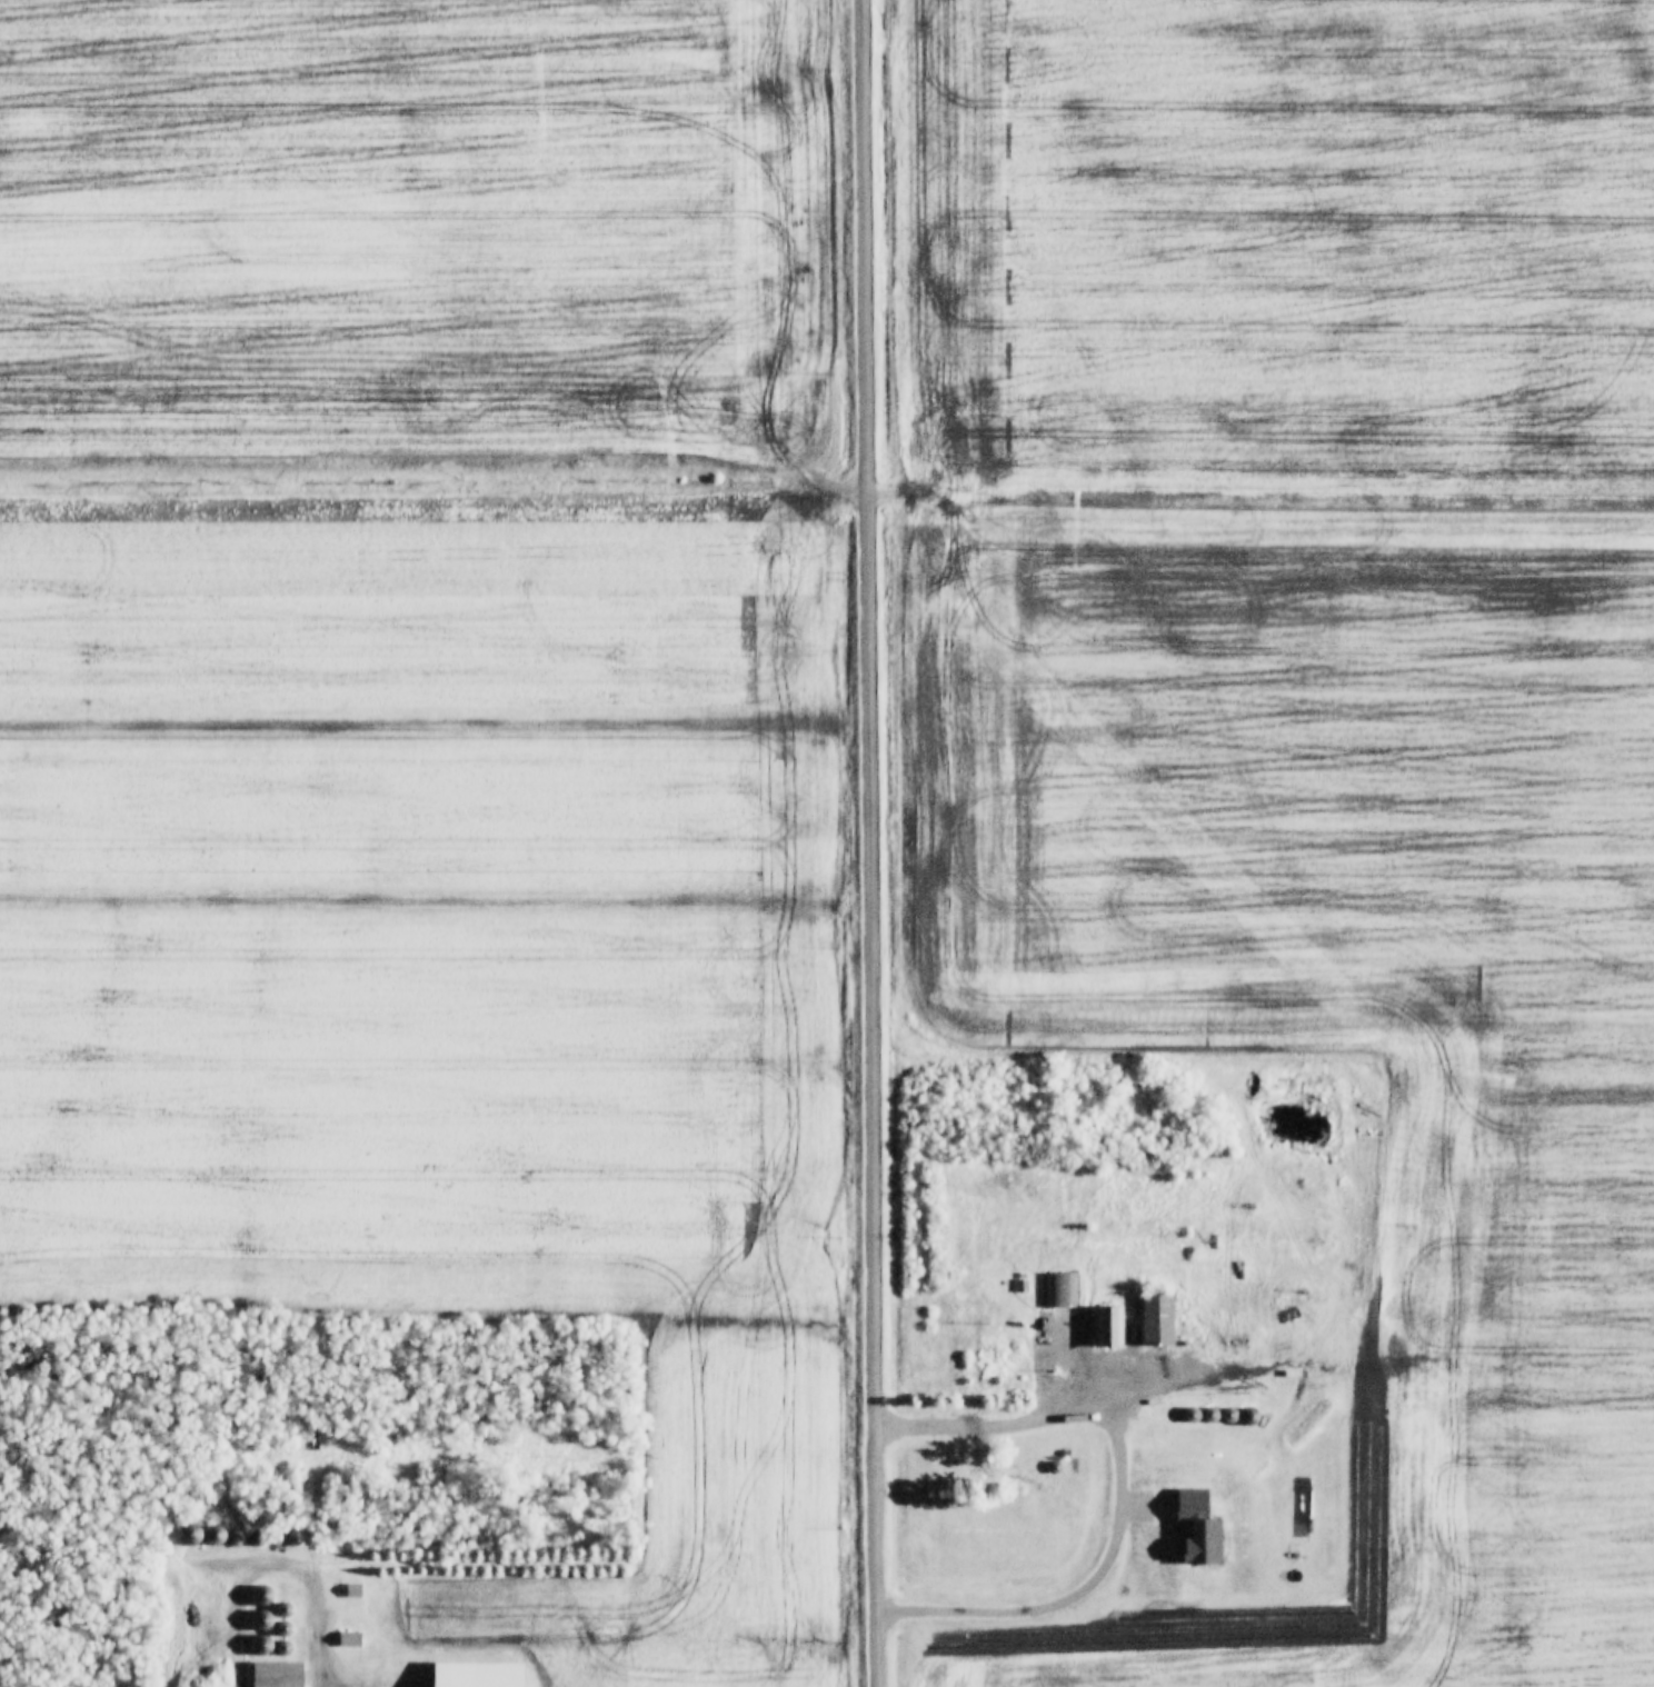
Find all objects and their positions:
crop: (411, 242)
crop: (1319, 707)
road: (869, 843)
crop: (452, 942)
road: (1123, 1484)
road: (278, 1557)
building: (348, 1636)
building: (279, 1673)
building: (480, 1674)

